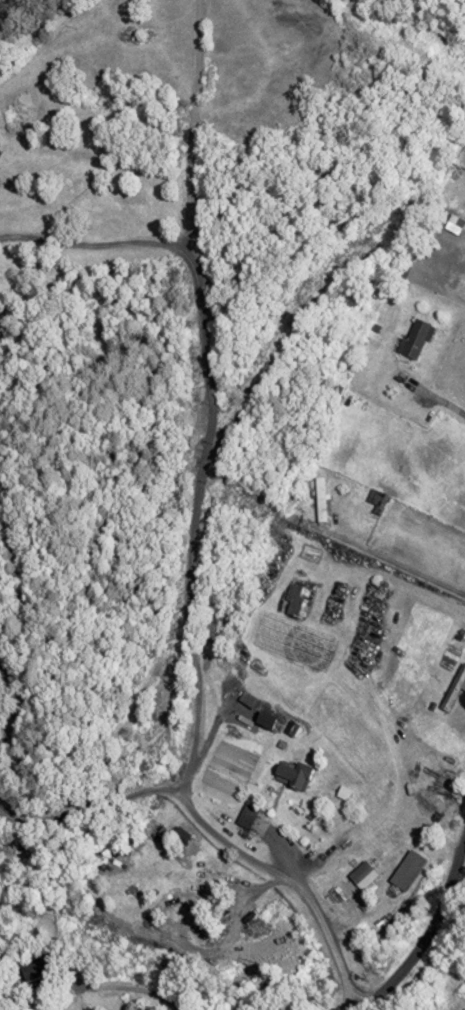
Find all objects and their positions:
building: (464, 114)
building: (457, 223)
road: (94, 244)
building: (416, 339)
road: (195, 539)
building: (298, 602)
building: (454, 690)
road: (12, 700)
building: (266, 720)
building: (295, 773)
road: (92, 806)
building: (247, 815)
building: (357, 879)
road: (426, 940)
building: (36, 969)
building: (67, 1004)

